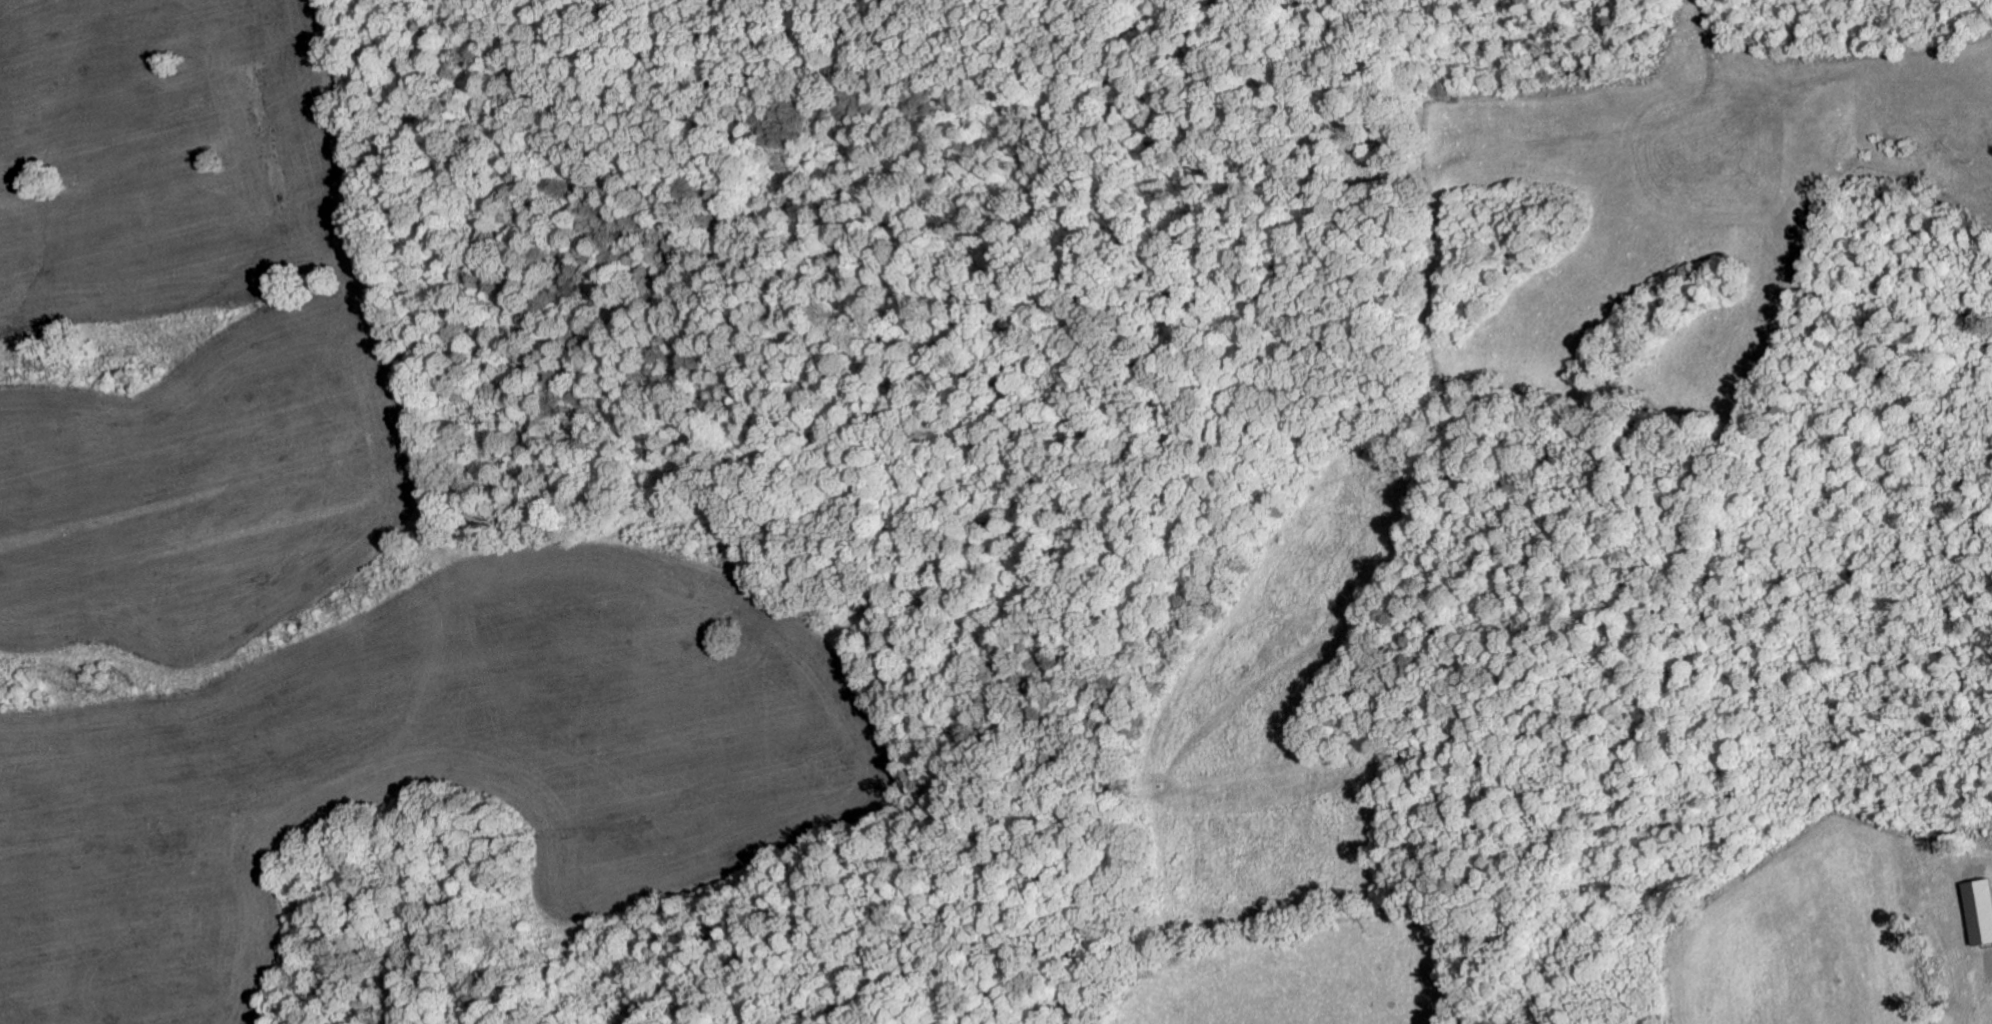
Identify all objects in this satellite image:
building: (1975, 915)

